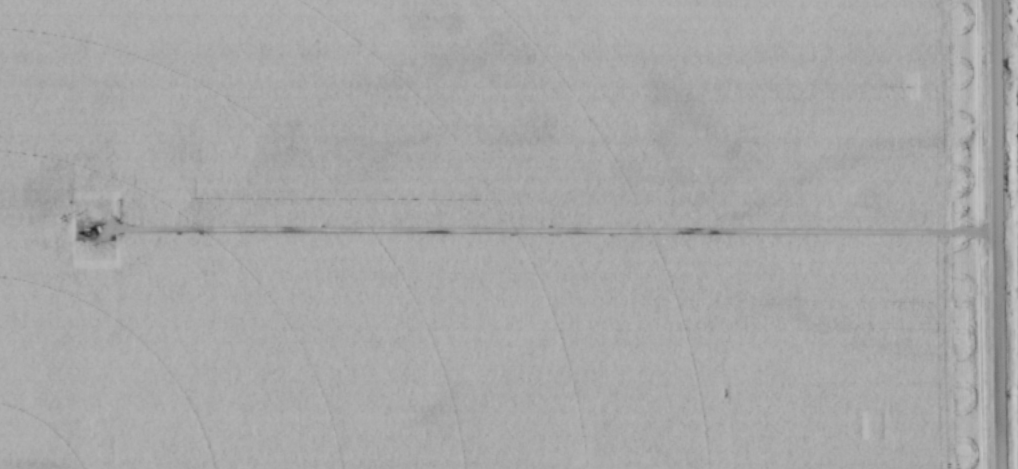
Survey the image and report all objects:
road: (997, 234)

